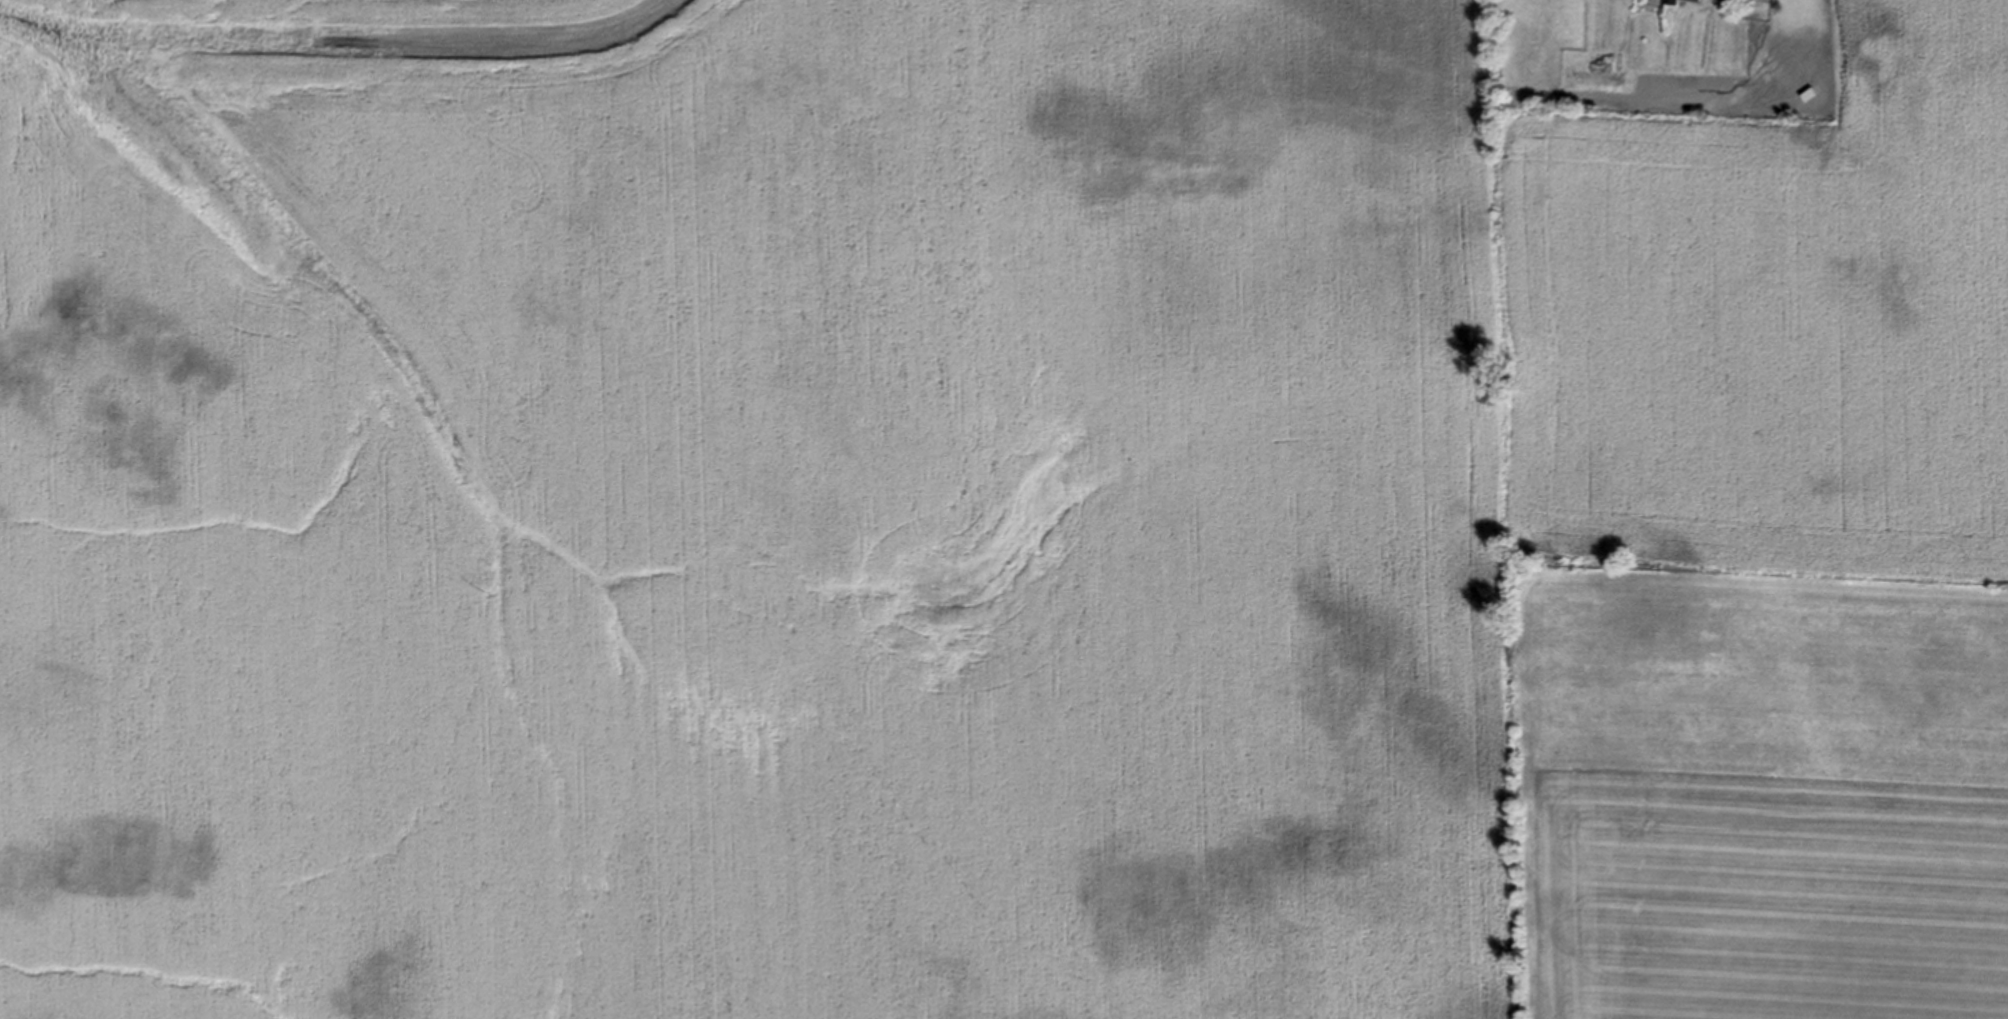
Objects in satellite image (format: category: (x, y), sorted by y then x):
building: (1651, 2)
building: (1806, 93)

